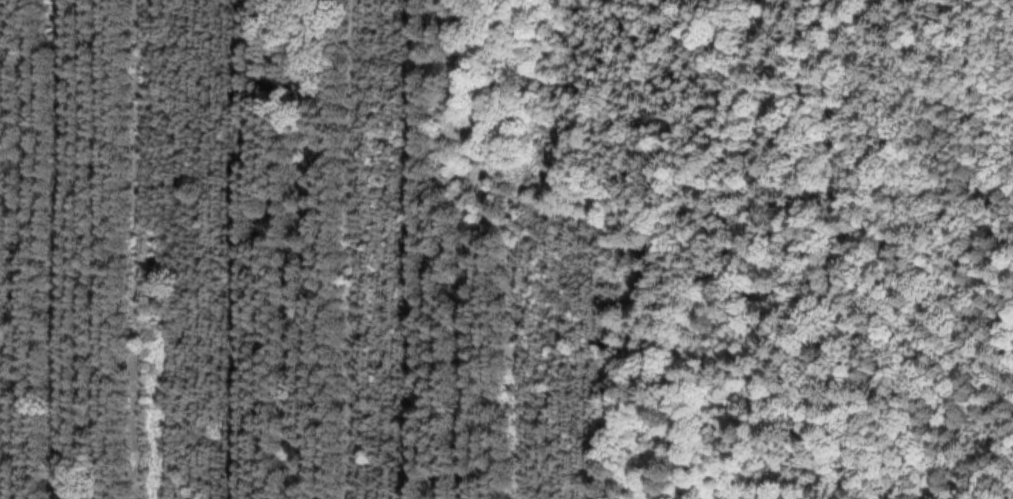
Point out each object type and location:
road: (843, 249)

